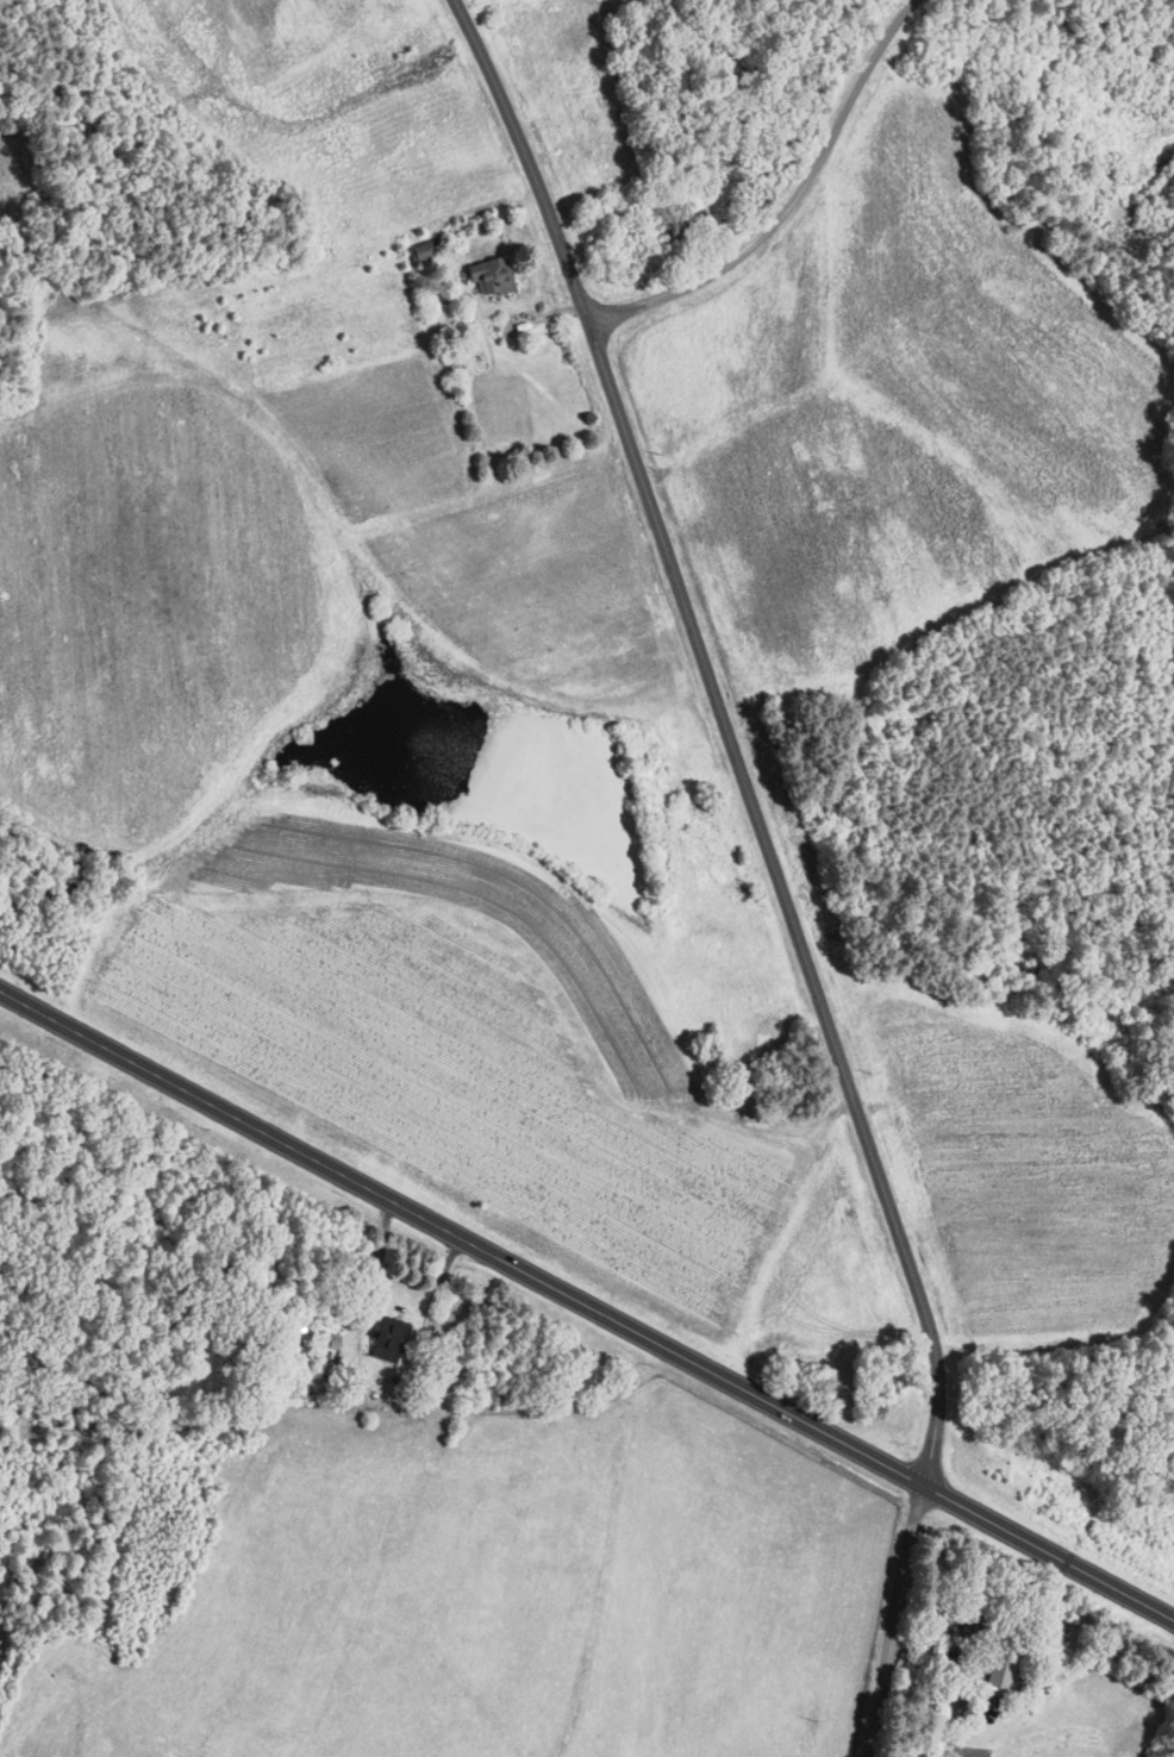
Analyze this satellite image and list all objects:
road: (791, 204)
building: (420, 250)
building: (486, 275)
road: (773, 867)
road: (587, 1303)
building: (386, 1337)
building: (998, 1672)

